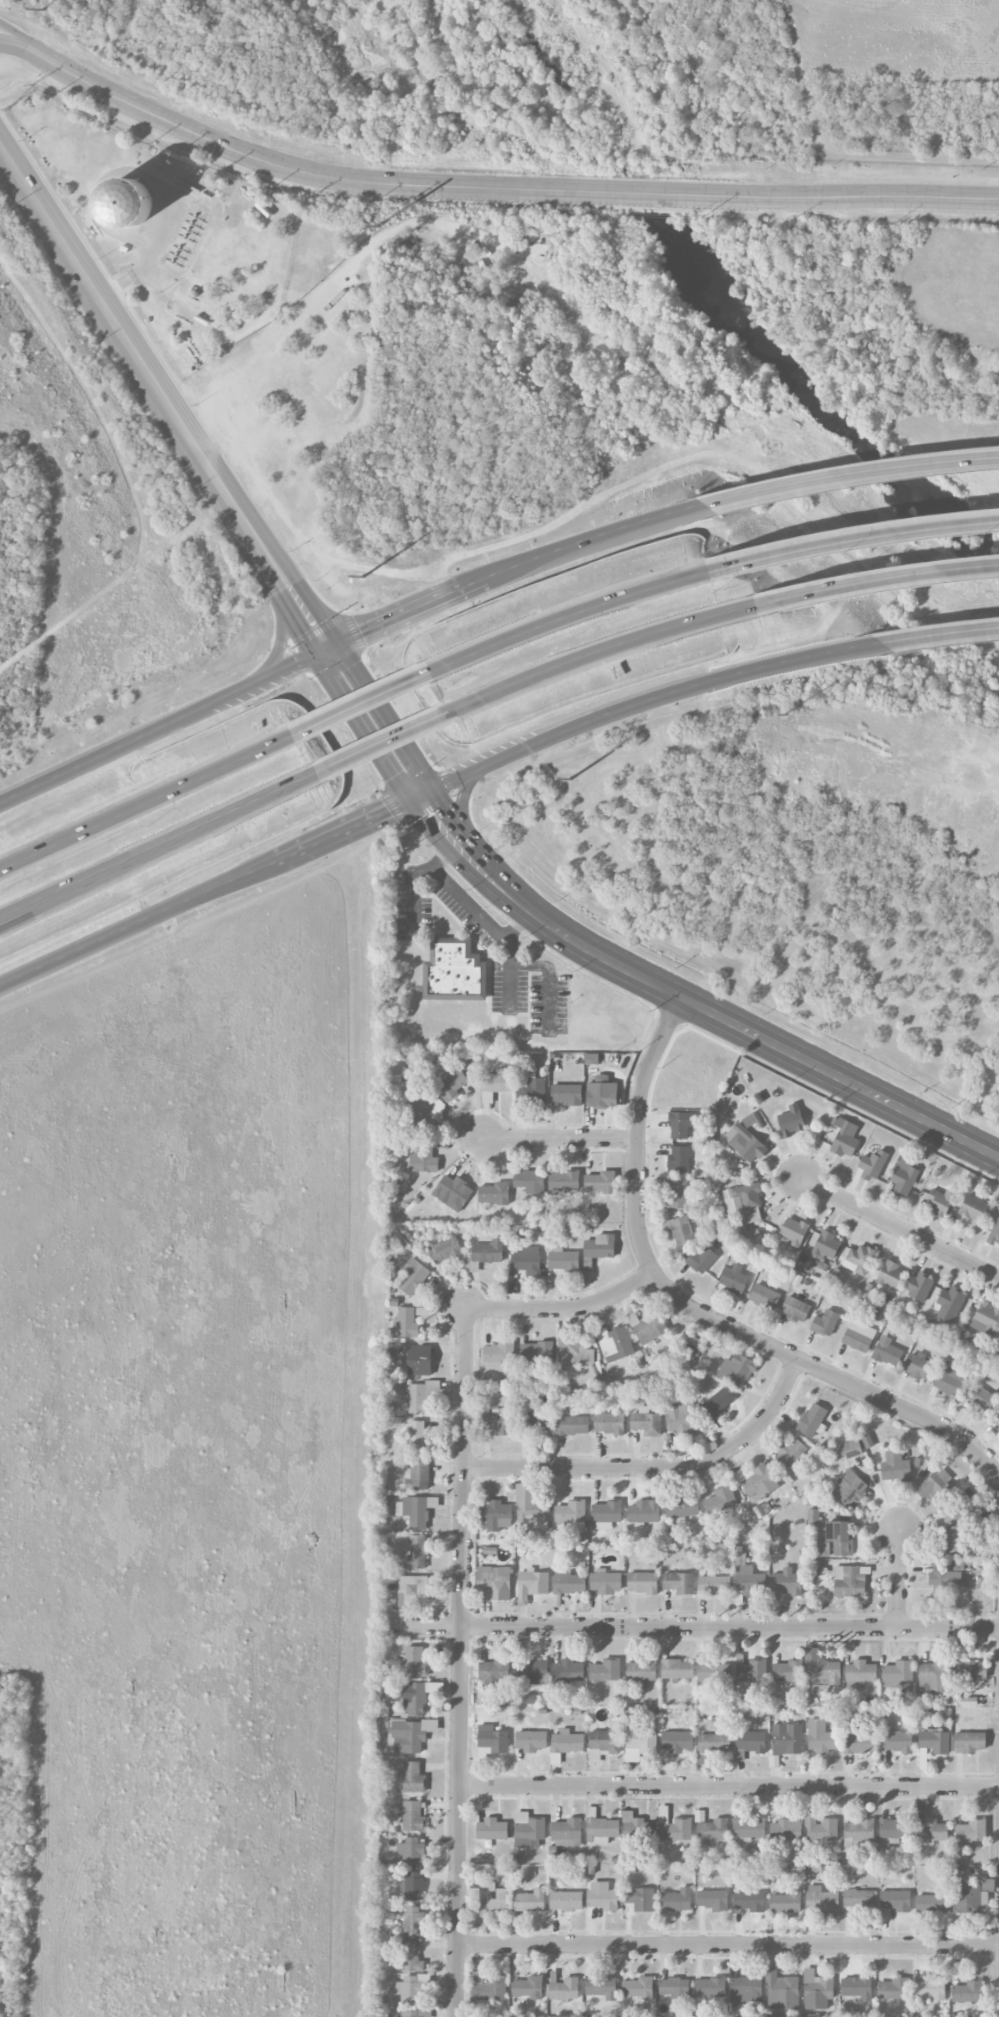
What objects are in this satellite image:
power tower: (43, 9)
road: (30, 42)
road: (30, 49)
road: (836, 151)
road: (516, 188)
building: (128, 203)
power tower: (378, 225)
road: (141, 361)
road: (851, 477)
road: (855, 542)
power tower: (362, 576)
road: (859, 586)
road: (312, 603)
road: (294, 614)
road: (573, 616)
traffic signals: (362, 630)
road: (280, 631)
traffic signals: (305, 631)
road: (346, 637)
road: (853, 650)
road: (585, 662)
traffic signals: (355, 666)
road: (365, 704)
power tower: (785, 714)
road: (385, 717)
road: (364, 727)
road: (388, 745)
traffic signals: (395, 777)
power tower: (570, 779)
road: (147, 804)
road: (459, 804)
traffic signals: (442, 808)
traffic signals: (389, 814)
road: (353, 830)
road: (468, 843)
road: (162, 848)
road: (453, 853)
road: (415, 892)
road: (476, 906)
road: (39, 908)
building: (455, 971)
road: (747, 1032)
building: (592, 1059)
building: (451, 1084)
building: (496, 1084)
building: (531, 1088)
building: (602, 1093)
building: (567, 1094)
building: (752, 1120)
building: (791, 1121)
building: (423, 1122)
building: (682, 1124)
building: (845, 1138)
road: (561, 1139)
building: (745, 1143)
building: (424, 1158)
building: (679, 1159)
building: (873, 1165)
building: (904, 1176)
building: (530, 1181)
building: (564, 1181)
building: (600, 1182)
building: (454, 1190)
building: (494, 1193)
building: (677, 1194)
building: (941, 1201)
building: (744, 1202)
building: (973, 1208)
road: (900, 1228)
building: (683, 1230)
building: (794, 1231)
building: (995, 1234)
building: (600, 1247)
building: (445, 1250)
building: (824, 1250)
building: (488, 1252)
building: (563, 1259)
building: (702, 1259)
building: (859, 1259)
building: (527, 1261)
building: (891, 1275)
building: (414, 1277)
building: (733, 1280)
building: (918, 1286)
building: (764, 1296)
building: (950, 1305)
road: (563, 1309)
building: (795, 1309)
road: (699, 1313)
building: (986, 1319)
building: (407, 1322)
building: (825, 1323)
building: (648, 1327)
building: (859, 1336)
building: (615, 1343)
building: (692, 1344)
building: (886, 1351)
building: (537, 1352)
building: (572, 1352)
building: (499, 1353)
building: (420, 1360)
building: (918, 1366)
building: (737, 1370)
building: (950, 1381)
building: (422, 1396)
building: (981, 1398)
building: (718, 1403)
building: (682, 1417)
building: (813, 1420)
building: (996, 1420)
building: (536, 1422)
building: (499, 1423)
building: (609, 1423)
building: (647, 1423)
building: (572, 1425)
building: (418, 1436)
building: (852, 1449)
building: (791, 1454)
building: (895, 1467)
road: (655, 1468)
building: (418, 1475)
building: (758, 1482)
building: (935, 1484)
building: (721, 1500)
building: (980, 1507)
building: (682, 1508)
building: (416, 1511)
building: (531, 1512)
building: (643, 1512)
building: (571, 1514)
building: (607, 1514)
building: (497, 1515)
building: (813, 1517)
building: (956, 1519)
building: (839, 1537)
building: (959, 1541)
building: (417, 1552)
building: (747, 1577)
road: (898, 1577)
building: (944, 1578)
building: (850, 1581)
building: (605, 1582)
building: (679, 1582)
building: (786, 1582)
building: (494, 1583)
building: (642, 1583)
building: (569, 1584)
building: (532, 1585)
building: (714, 1585)
building: (412, 1591)
road: (693, 1628)
building: (415, 1662)
road: (460, 1663)
building: (678, 1669)
building: (822, 1669)
building: (605, 1670)
building: (971, 1670)
building: (532, 1671)
building: (568, 1671)
building: (641, 1671)
building: (750, 1671)
building: (789, 1671)
building: (494, 1672)
building: (714, 1672)
building: (898, 1672)
building: (859, 1674)
building: (935, 1676)
building: (415, 1699)
building: (410, 1735)
building: (824, 1736)
building: (787, 1739)
building: (860, 1740)
building: (934, 1740)
building: (491, 1741)
building: (531, 1741)
building: (678, 1741)
building: (567, 1742)
building: (897, 1742)
building: (970, 1742)
building: (640, 1743)
building: (714, 1743)
building: (750, 1743)
building: (604, 1744)
building: (555, 1758)
building: (413, 1778)
road: (729, 1786)
building: (413, 1816)
building: (634, 1827)
building: (820, 1827)
building: (492, 1829)
building: (748, 1829)
building: (785, 1829)
building: (528, 1830)
building: (601, 1830)
building: (677, 1830)
building: (895, 1830)
building: (713, 1831)
building: (931, 1832)
building: (971, 1832)
park: (8, 1833)
building: (567, 1833)
building: (858, 1833)
building: (411, 1851)
building: (414, 1886)
building: (973, 1896)
building: (492, 1897)
building: (748, 1898)
building: (602, 1899)
building: (640, 1899)
building: (821, 1899)
building: (858, 1899)
building: (676, 1900)
building: (712, 1900)
building: (786, 1900)
building: (896, 1900)
building: (530, 1901)
building: (566, 1901)
building: (932, 1903)
building: (413, 1921)
road: (728, 1944)
building: (411, 1957)
building: (487, 1987)
building: (528, 1987)
building: (602, 1987)
building: (710, 1987)
building: (639, 1988)
building: (675, 1988)
building: (857, 1988)
building: (894, 1988)
building: (411, 1989)
building: (563, 1989)
building: (931, 1989)
building: (817, 1990)
building: (746, 1991)
building: (781, 1991)
building: (968, 1992)
building: (413, 2014)

